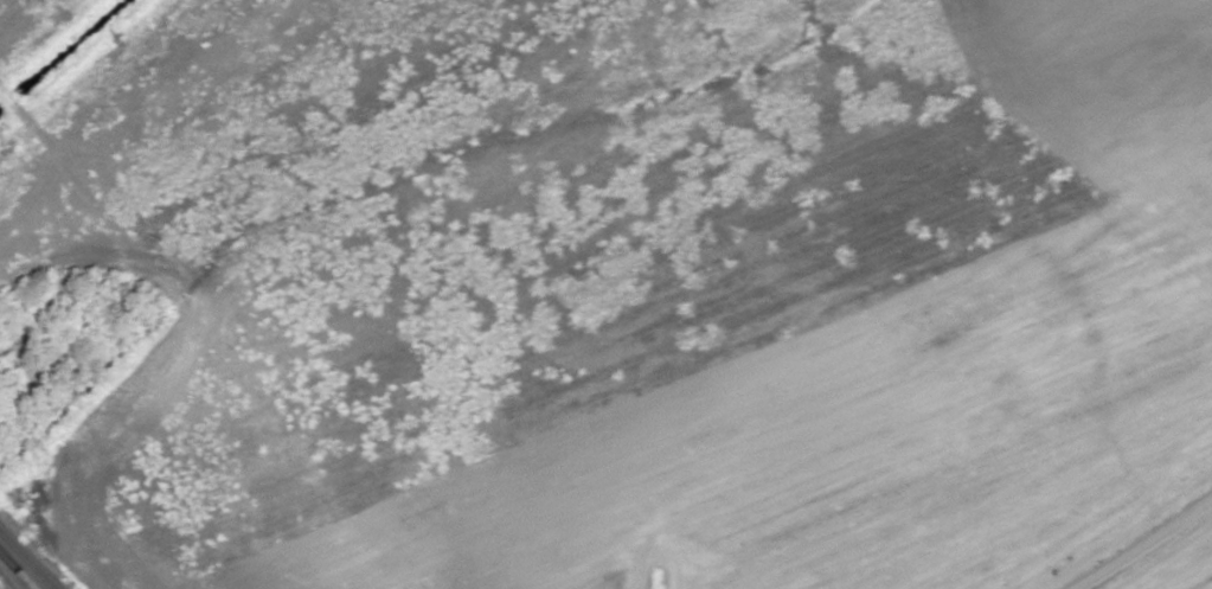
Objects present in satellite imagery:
road: (1140, 542)
railway: (26, 561)
railway: (18, 569)
railway: (4, 584)

